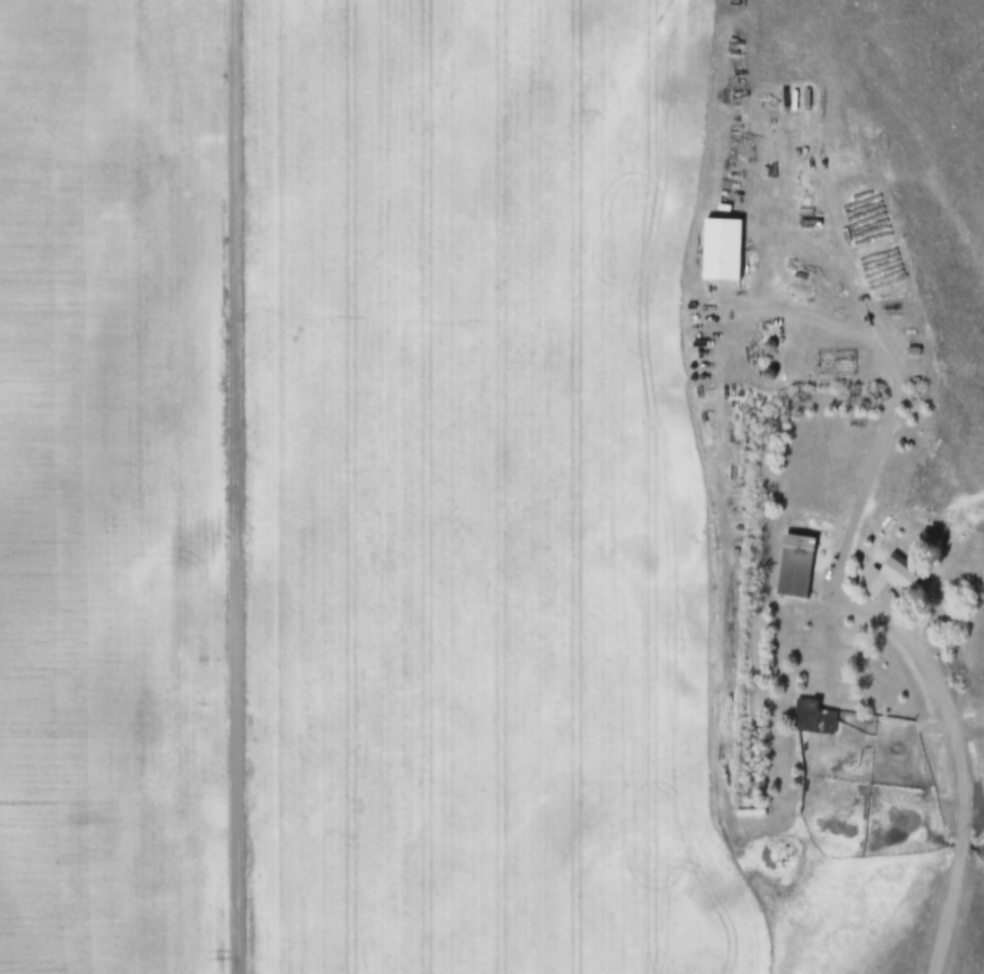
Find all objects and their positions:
road: (478, 321)
road: (899, 389)
road: (234, 487)
building: (799, 568)
building: (894, 580)
building: (817, 719)
road: (959, 756)

